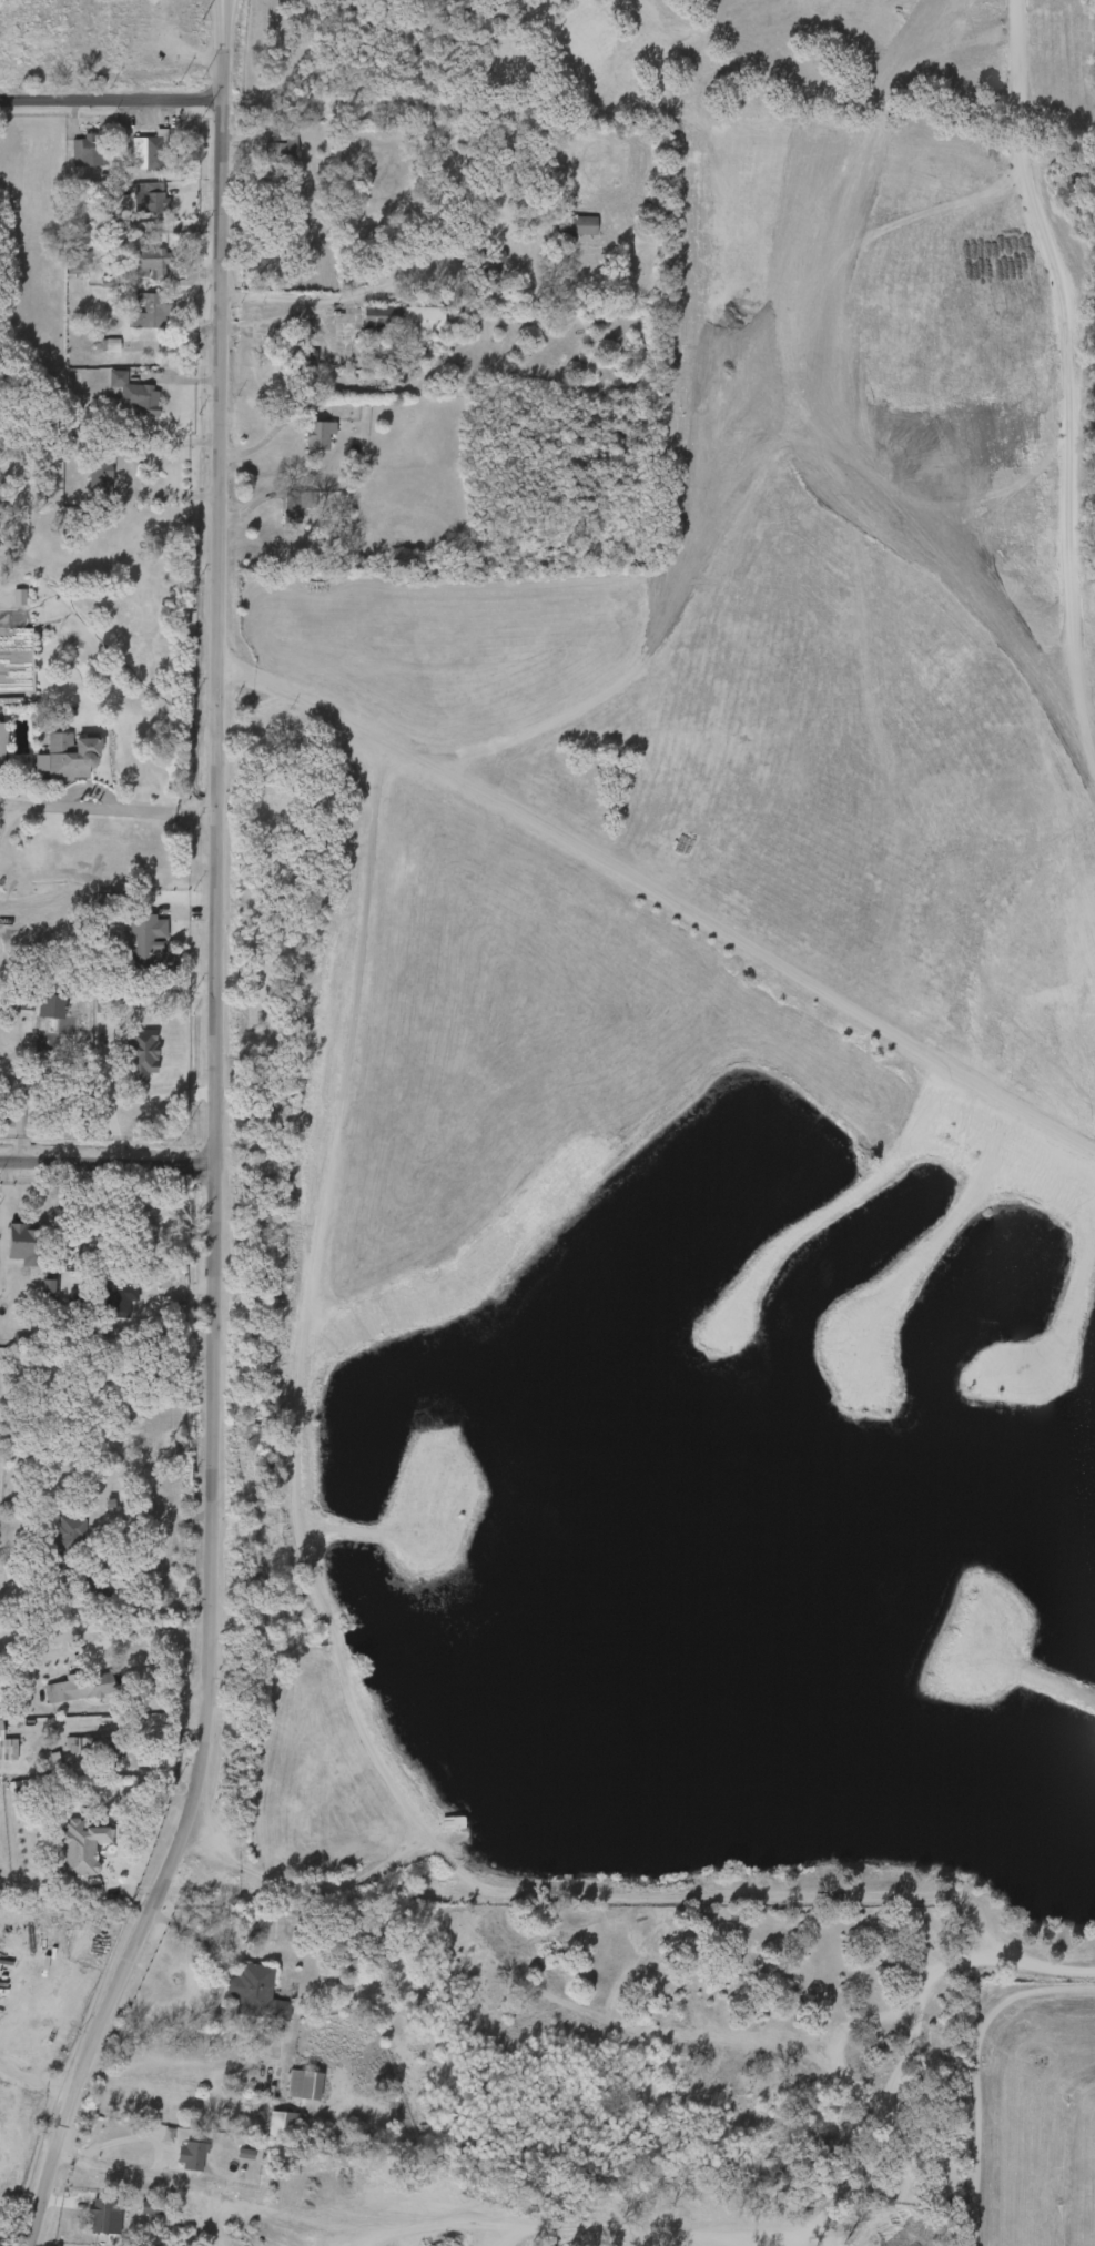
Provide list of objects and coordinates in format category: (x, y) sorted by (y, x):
road: (223, 6)
road: (111, 97)
building: (151, 150)
building: (282, 150)
building: (89, 151)
building: (74, 158)
building: (267, 159)
building: (134, 160)
building: (150, 198)
building: (135, 205)
building: (576, 224)
building: (562, 232)
building: (78, 255)
building: (146, 261)
building: (477, 262)
building: (63, 270)
building: (134, 271)
road: (329, 297)
building: (148, 308)
building: (404, 318)
building: (366, 324)
road: (285, 326)
building: (382, 357)
building: (303, 362)
building: (134, 393)
building: (121, 402)
road: (265, 434)
building: (317, 434)
building: (304, 443)
building: (97, 467)
building: (85, 484)
road: (159, 505)
building: (292, 506)
building: (1, 746)
building: (68, 756)
road: (4, 803)
road: (89, 809)
road: (205, 813)
building: (148, 947)
building: (17, 998)
building: (45, 1021)
road: (3, 1127)
road: (215, 1145)
road: (107, 1165)
building: (24, 1244)
building: (11, 1251)
building: (114, 1297)
building: (78, 1301)
building: (67, 1548)
road: (105, 1560)
building: (93, 1586)
building: (83, 1594)
building: (99, 1683)
building: (51, 1696)
building: (0, 1730)
building: (99, 1746)
building: (82, 1753)
building: (1, 1756)
building: (98, 1800)
building: (79, 1848)
road: (220, 1869)
building: (257, 1933)
building: (257, 1993)
road: (34, 2078)
building: (301, 2084)
building: (290, 2091)
building: (284, 2124)
building: (271, 2131)
road: (111, 2146)
building: (190, 2155)
building: (178, 2162)
road: (160, 2179)
road: (317, 2213)
building: (99, 2215)
building: (138, 2215)
building: (87, 2222)
road: (280, 2229)

